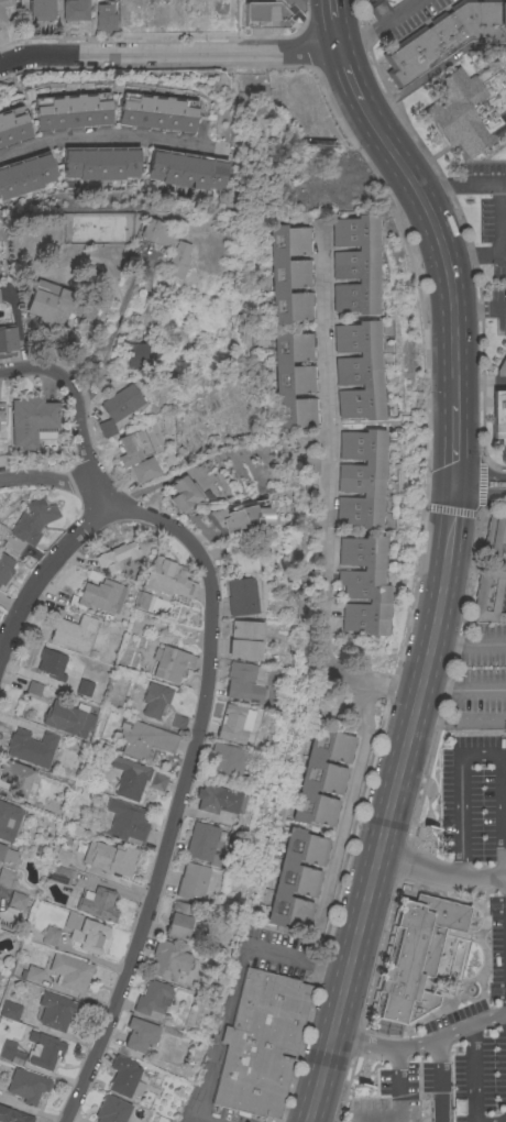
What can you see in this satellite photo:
building: (381, 7)
building: (75, 9)
road: (334, 9)
building: (42, 10)
building: (218, 12)
building: (269, 12)
building: (132, 14)
building: (189, 14)
building: (2, 15)
building: (105, 15)
road: (380, 26)
road: (340, 35)
building: (444, 36)
road: (170, 55)
road: (350, 76)
building: (469, 107)
building: (71, 111)
building: (156, 112)
building: (13, 125)
road: (101, 137)
building: (101, 162)
building: (186, 168)
building: (25, 174)
road: (479, 184)
road: (437, 191)
road: (497, 224)
building: (155, 231)
road: (440, 242)
road: (471, 256)
building: (177, 260)
building: (356, 264)
building: (290, 272)
building: (58, 304)
road: (480, 310)
road: (110, 334)
building: (8, 337)
building: (137, 353)
building: (502, 366)
building: (360, 369)
building: (295, 378)
building: (118, 407)
building: (2, 411)
road: (76, 411)
building: (498, 415)
building: (32, 419)
building: (1, 421)
road: (457, 444)
building: (129, 448)
building: (310, 464)
building: (144, 469)
road: (48, 477)
building: (361, 477)
traffic signals: (457, 484)
road: (481, 485)
building: (182, 493)
road: (326, 494)
road: (479, 501)
building: (241, 514)
building: (28, 525)
building: (238, 554)
building: (116, 555)
building: (5, 566)
building: (492, 566)
road: (42, 575)
building: (167, 577)
building: (363, 584)
building: (97, 595)
building: (242, 595)
building: (142, 599)
building: (74, 631)
building: (243, 638)
road: (471, 645)
building: (169, 662)
building: (53, 663)
building: (242, 682)
building: (84, 686)
building: (34, 687)
road: (464, 690)
building: (153, 698)
building: (66, 717)
building: (178, 721)
building: (232, 723)
building: (144, 739)
building: (31, 747)
road: (484, 756)
building: (223, 762)
building: (322, 776)
building: (129, 777)
building: (13, 779)
building: (157, 780)
road: (182, 790)
building: (217, 799)
road: (392, 804)
road: (345, 813)
building: (9, 820)
building: (124, 822)
building: (201, 843)
building: (7, 854)
building: (62, 856)
building: (109, 857)
building: (58, 873)
road: (441, 876)
building: (7, 877)
building: (296, 879)
building: (190, 880)
building: (16, 900)
building: (97, 903)
building: (180, 919)
building: (86, 933)
building: (48, 935)
building: (415, 955)
building: (166, 959)
building: (69, 971)
building: (31, 974)
road: (230, 985)
building: (152, 998)
building: (10, 1009)
building: (53, 1010)
building: (139, 1033)
building: (261, 1043)
road: (420, 1045)
building: (7, 1048)
building: (42, 1049)
building: (18, 1056)
road: (472, 1074)
building: (124, 1076)
road: (440, 1079)
building: (26, 1085)
road: (396, 1103)
building: (111, 1109)
building: (13, 1115)

